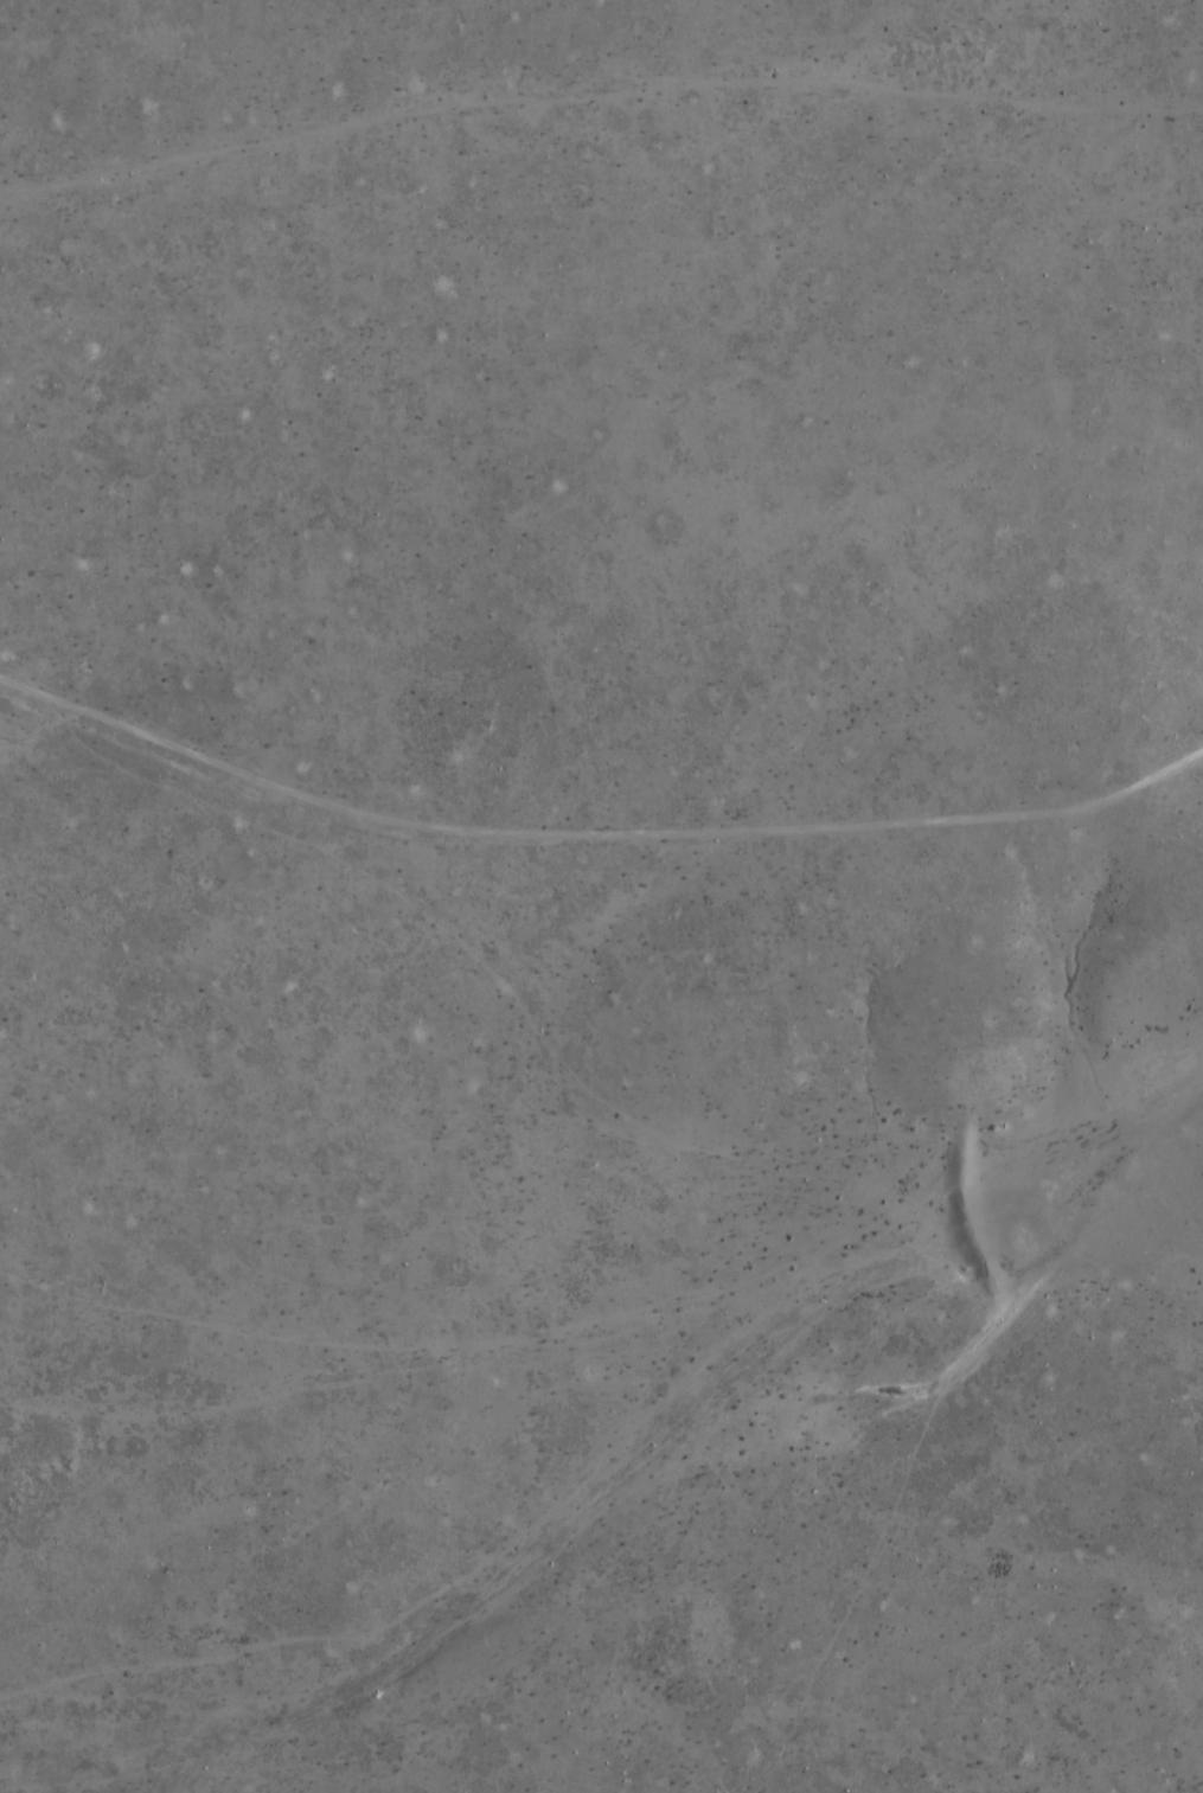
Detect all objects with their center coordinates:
road: (594, 834)

